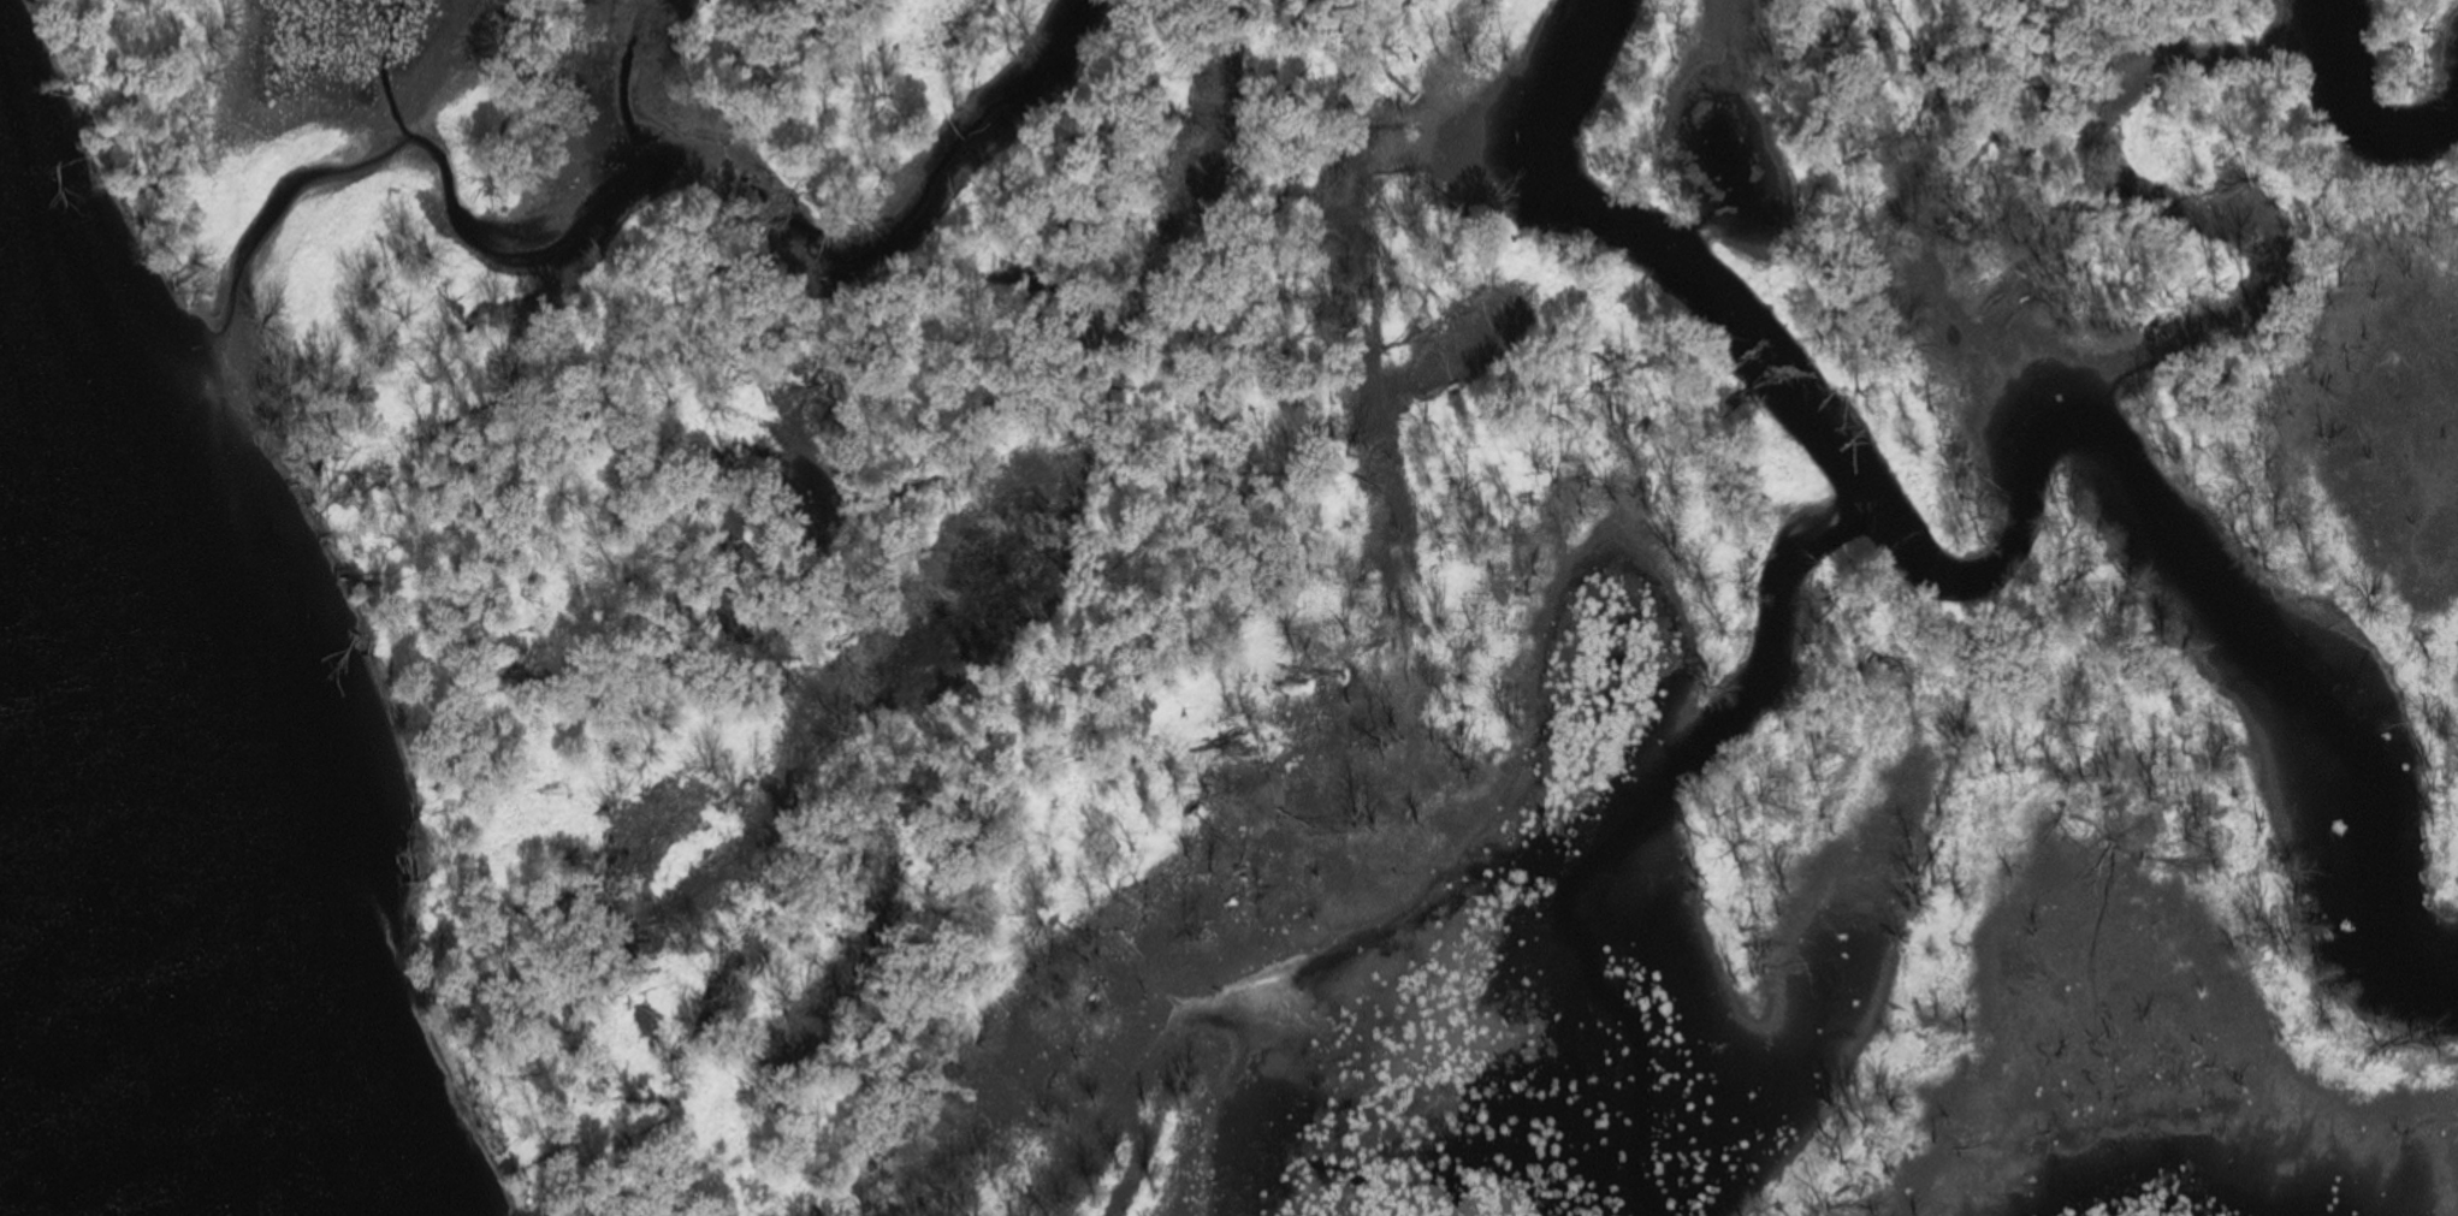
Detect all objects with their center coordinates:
river: (1, 1211)

